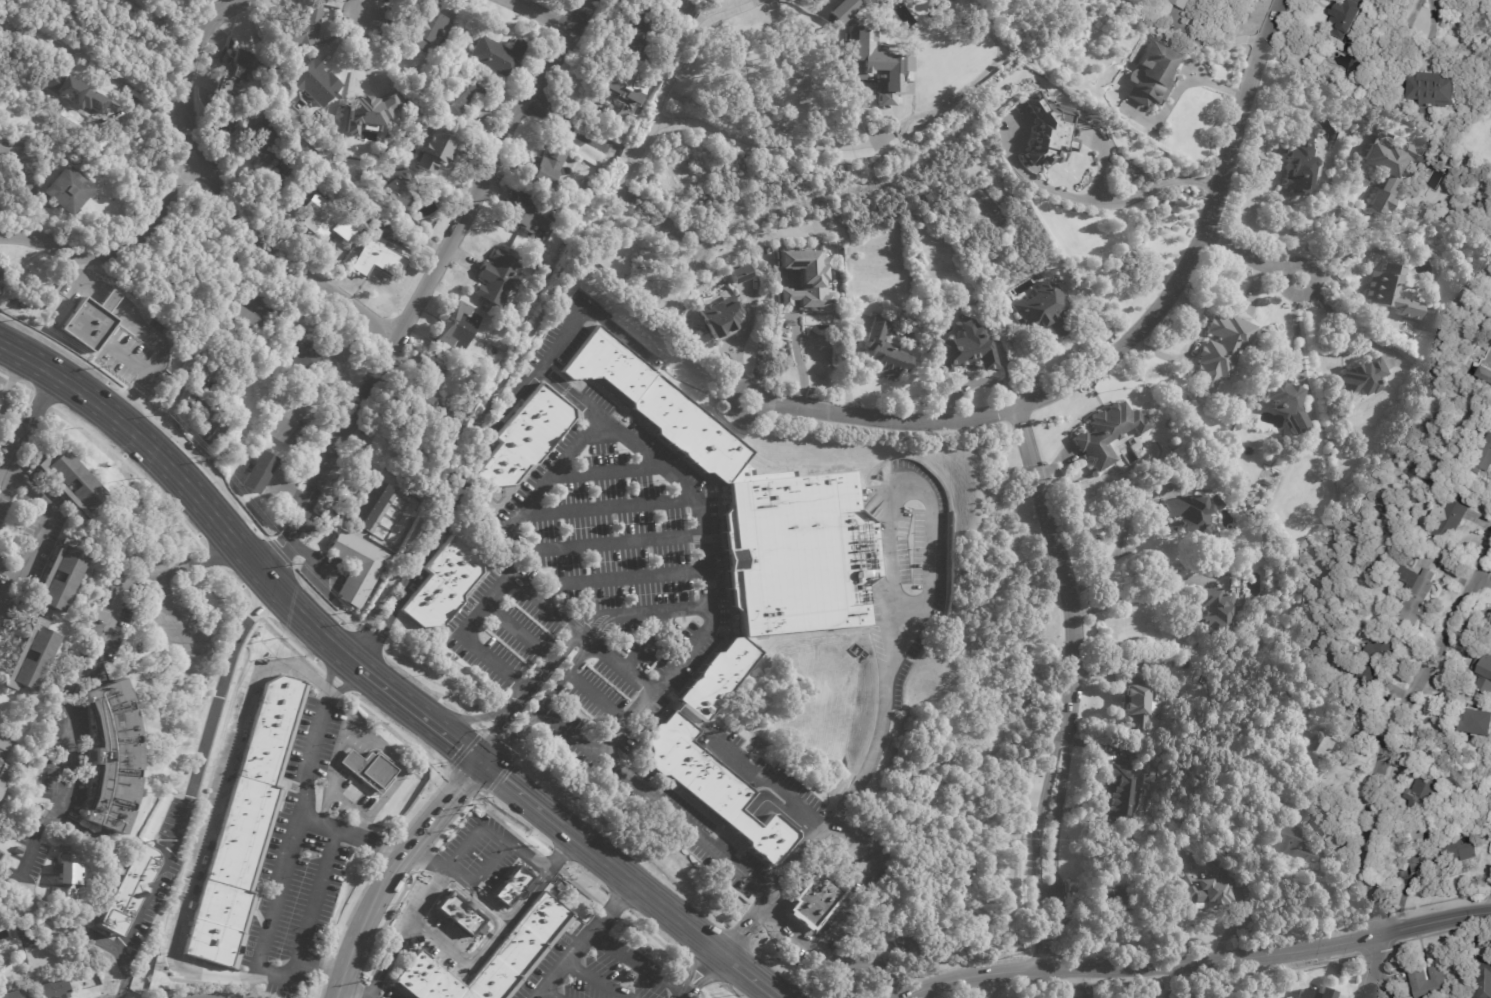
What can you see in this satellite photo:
building: (946, 1)
building: (890, 2)
building: (1188, 3)
road: (364, 8)
road: (207, 10)
road: (221, 10)
road: (545, 16)
road: (1407, 16)
building: (1348, 19)
building: (674, 24)
road: (1428, 25)
building: (427, 26)
building: (305, 28)
building: (635, 35)
road: (686, 44)
road: (1216, 47)
building: (498, 55)
building: (863, 62)
building: (236, 69)
building: (1152, 74)
building: (410, 78)
building: (315, 82)
road: (1185, 83)
building: (622, 84)
road: (185, 89)
building: (1437, 91)
building: (75, 94)
building: (461, 94)
building: (367, 102)
road: (582, 130)
building: (1049, 130)
building: (262, 145)
building: (435, 151)
road: (1101, 162)
building: (1303, 163)
building: (1385, 163)
building: (547, 165)
building: (585, 183)
building: (397, 187)
building: (64, 190)
building: (301, 192)
building: (928, 197)
road: (1099, 200)
building: (528, 213)
road: (1337, 217)
building: (324, 219)
road: (1201, 242)
road: (119, 247)
road: (293, 252)
building: (377, 254)
road: (1252, 258)
building: (0, 272)
building: (734, 273)
building: (0, 276)
building: (498, 277)
building: (808, 278)
road: (426, 288)
building: (1391, 292)
road: (539, 305)
building: (1045, 311)
building: (88, 318)
building: (722, 319)
road: (1296, 323)
building: (247, 324)
building: (993, 324)
building: (458, 327)
building: (968, 349)
building: (1223, 350)
building: (303, 351)
building: (885, 352)
road: (738, 354)
road: (799, 358)
building: (1488, 367)
building: (1364, 377)
building: (435, 402)
building: (1288, 403)
building: (651, 404)
building: (203, 415)
road: (882, 415)
building: (290, 418)
building: (1109, 433)
building: (528, 437)
road: (146, 444)
building: (1484, 460)
building: (412, 461)
building: (257, 472)
road: (607, 472)
building: (84, 481)
road: (6, 482)
building: (1267, 483)
road: (685, 490)
road: (33, 493)
road: (538, 493)
building: (1217, 502)
building: (369, 505)
road: (608, 506)
road: (445, 516)
building: (1194, 516)
building: (1450, 519)
road: (1146, 533)
road: (603, 543)
building: (793, 553)
road: (1056, 558)
building: (356, 567)
road: (9, 571)
building: (68, 571)
road: (620, 579)
building: (442, 583)
parking lot: (597, 587)
building: (1416, 593)
road: (1132, 596)
road: (488, 602)
road: (295, 610)
road: (888, 612)
building: (1219, 612)
road: (518, 633)
road: (647, 638)
building: (40, 650)
road: (343, 655)
road: (552, 659)
building: (1171, 663)
building: (1375, 664)
building: (1483, 670)
road: (329, 671)
road: (368, 675)
building: (716, 675)
road: (565, 676)
road: (74, 680)
road: (350, 680)
road: (657, 690)
road: (600, 697)
building: (1140, 700)
road: (476, 716)
road: (428, 721)
road: (1398, 724)
building: (1477, 724)
road: (496, 731)
traffic signals: (497, 731)
road: (570, 735)
road: (512, 738)
road: (379, 742)
building: (2, 745)
building: (1331, 745)
traffic signals: (460, 747)
building: (113, 755)
building: (692, 767)
building: (369, 770)
building: (3, 773)
traffic signals: (503, 780)
road: (188, 791)
building: (1423, 791)
traffic signals: (454, 793)
building: (1121, 794)
road: (788, 798)
road: (527, 799)
road: (652, 803)
road: (762, 803)
road: (440, 808)
road: (213, 821)
road: (319, 822)
parking lot: (691, 829)
building: (761, 833)
road: (474, 834)
building: (240, 837)
road: (1037, 837)
road: (1055, 838)
road: (370, 839)
building: (1293, 842)
building: (19, 850)
parking lot: (479, 851)
parking lot: (302, 854)
building: (1441, 856)
road: (559, 857)
road: (424, 860)
road: (526, 861)
road: (839, 872)
building: (65, 876)
road: (480, 876)
building: (1202, 882)
building: (511, 886)
building: (126, 891)
road: (429, 892)
road: (649, 896)
building: (814, 900)
building: (1121, 902)
road: (495, 909)
road: (848, 910)
building: (458, 912)
road: (362, 923)
road: (270, 926)
road: (747, 927)
road: (59, 928)
road: (483, 940)
road: (585, 940)
road: (388, 956)
building: (490, 959)
road: (864, 965)
road: (638, 966)
road: (1198, 966)
road: (321, 967)
road: (1371, 967)
building: (1483, 970)
parking lot: (600, 971)
road: (701, 973)
building: (630, 976)
road: (750, 977)
road: (595, 980)
road: (1194, 982)
building: (1430, 982)
road: (1076, 983)
road: (1157, 983)
road: (357, 986)
road: (990, 986)
building: (54, 988)
parking lot: (377, 989)
building: (14, 994)
road: (551, 994)
building: (1309, 994)
building: (1293, 997)

